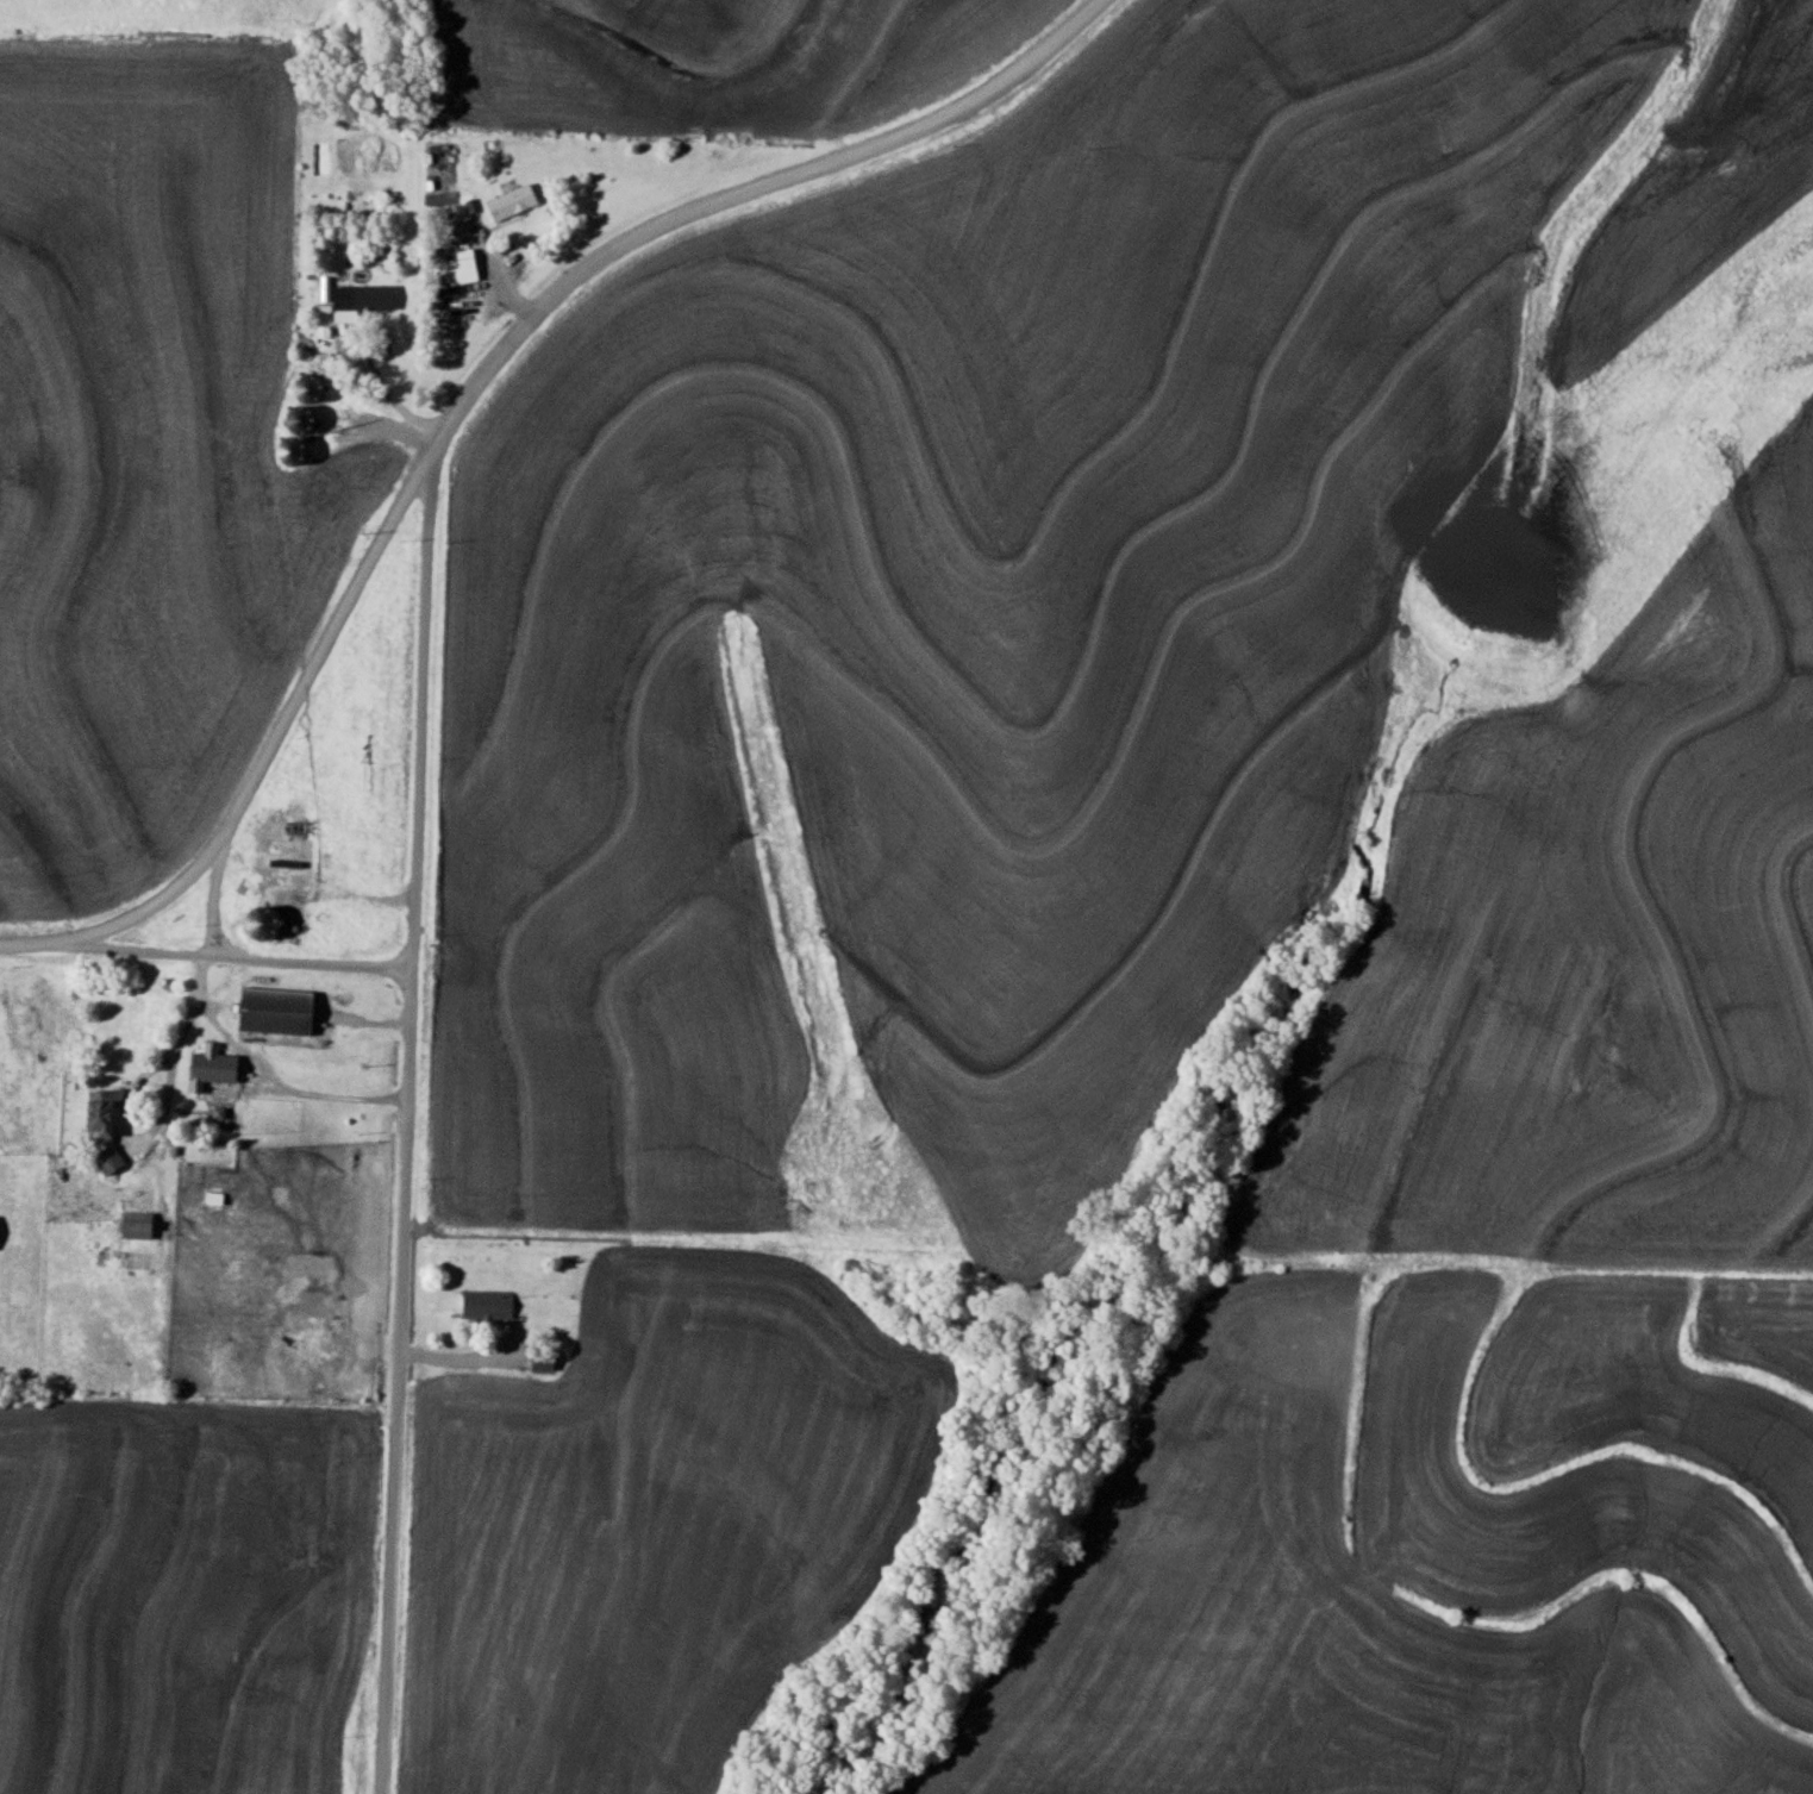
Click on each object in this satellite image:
building: (514, 204)
building: (362, 301)
road: (425, 708)
building: (299, 838)
road: (207, 955)
building: (280, 1011)
building: (214, 1067)
building: (105, 1112)
building: (111, 1159)
building: (139, 1225)
building: (489, 1305)
building: (544, 1364)

